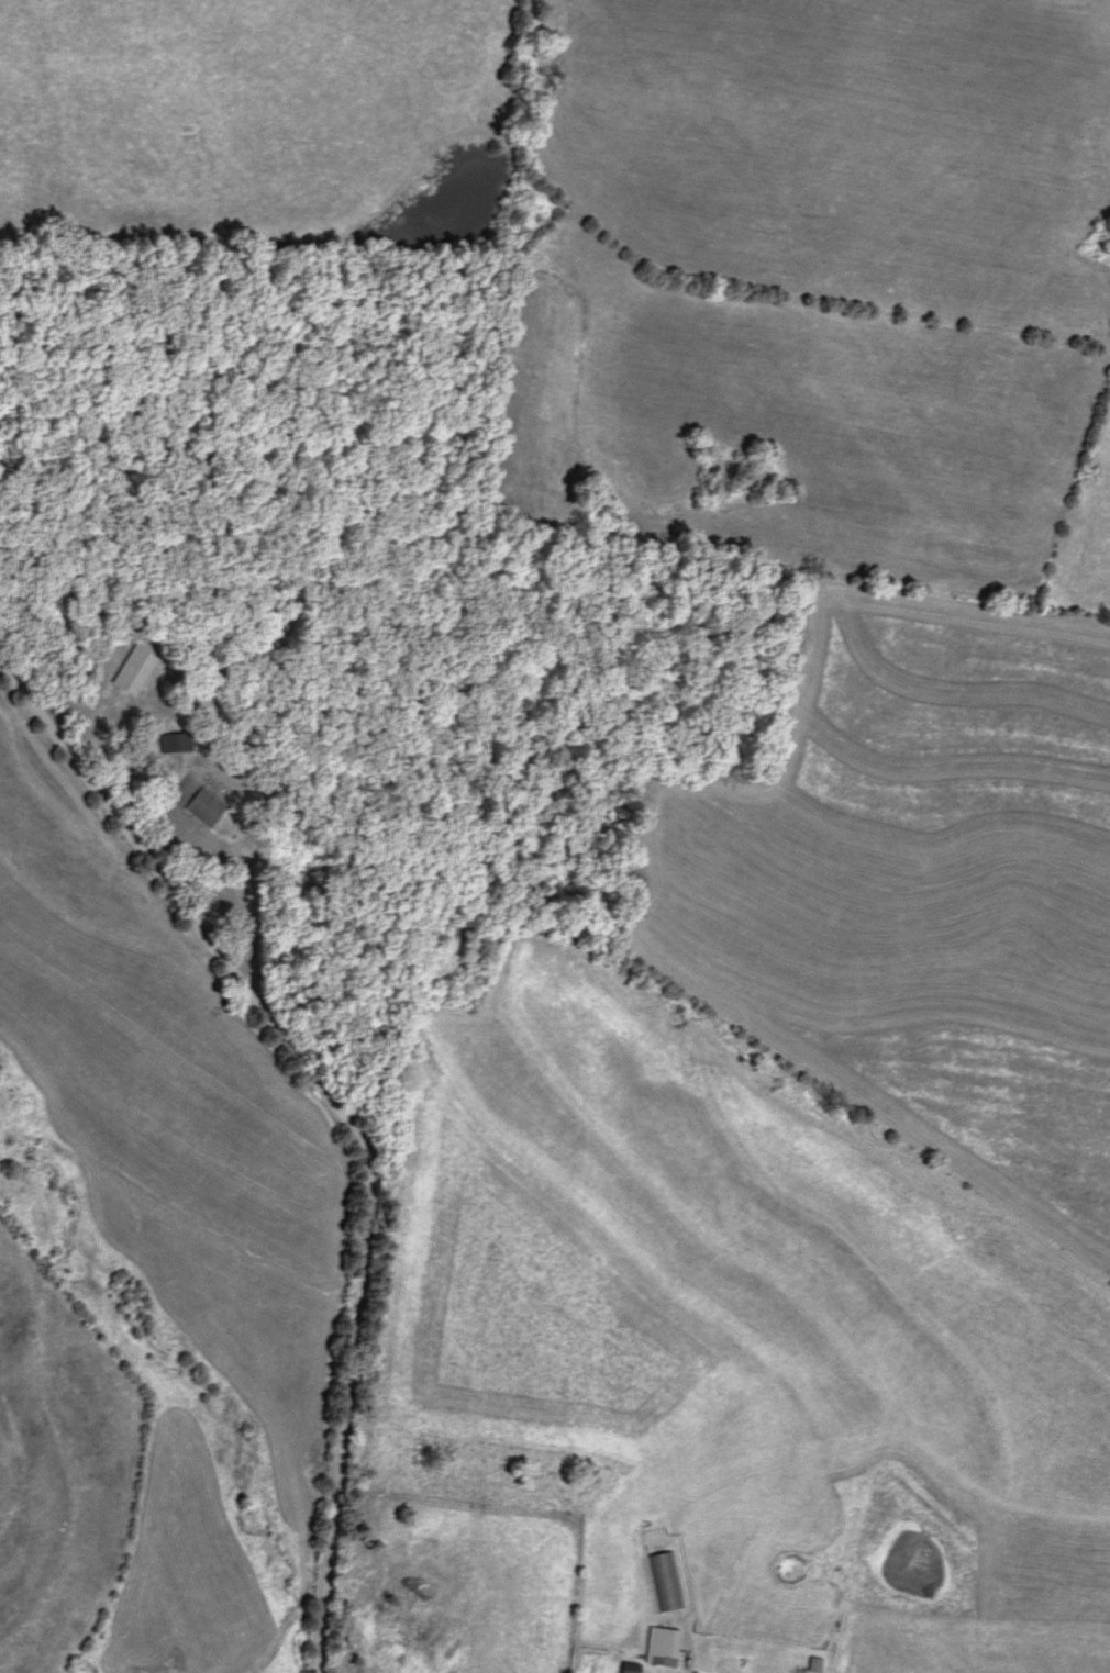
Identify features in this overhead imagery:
building: (134, 671)
building: (177, 743)
building: (208, 806)
road: (325, 1131)
building: (665, 1581)
building: (663, 1647)
building: (814, 1664)

